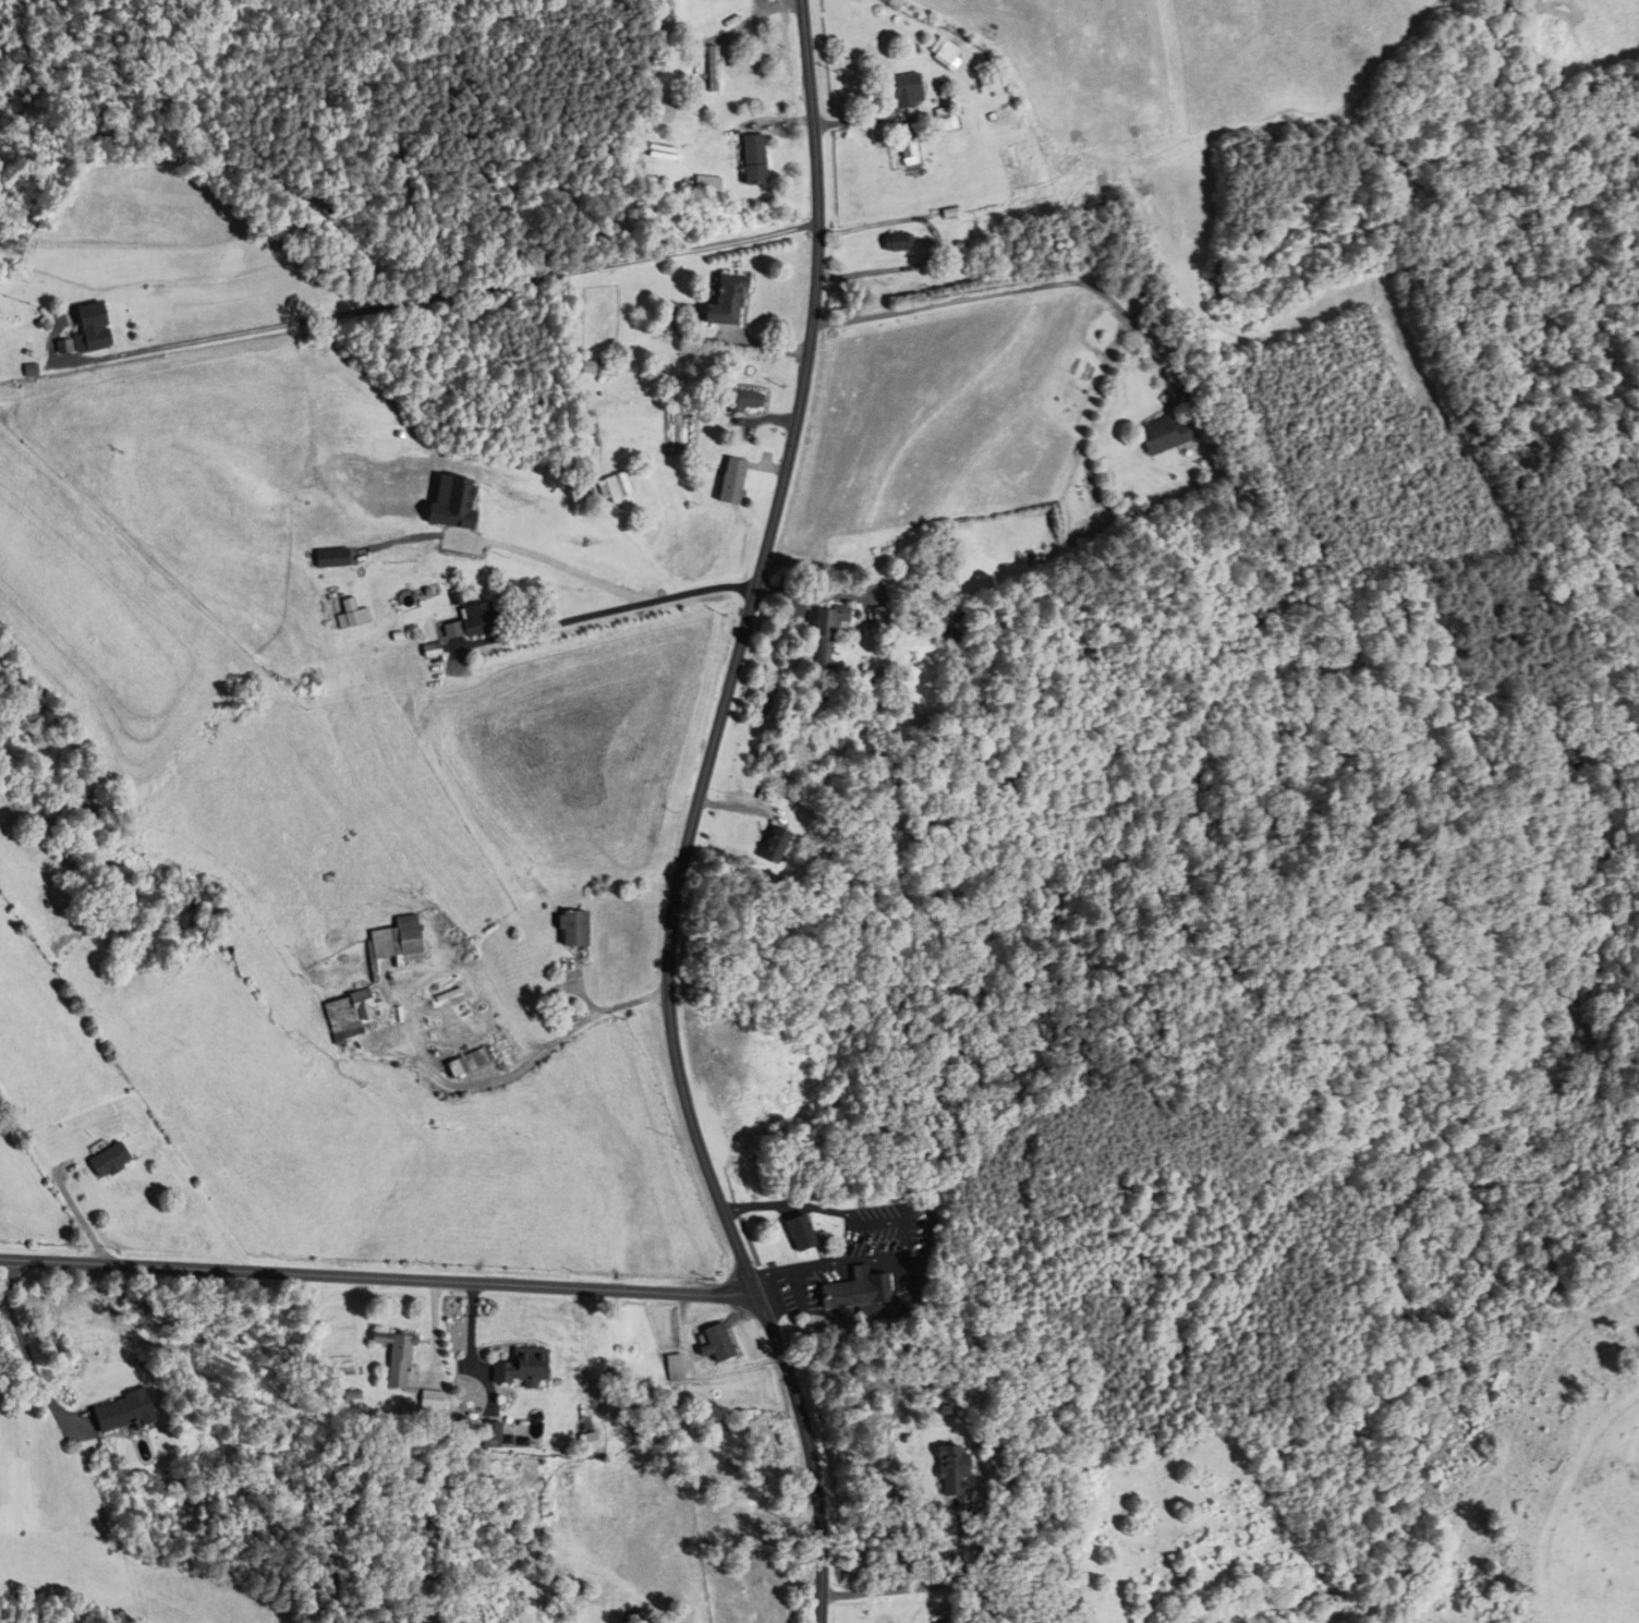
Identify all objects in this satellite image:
building: (733, 16)
building: (942, 52)
building: (711, 69)
building: (901, 92)
building: (940, 96)
building: (998, 114)
building: (944, 118)
building: (1012, 153)
building: (910, 155)
building: (750, 159)
building: (895, 241)
road: (481, 289)
road: (1021, 290)
building: (721, 302)
building: (90, 340)
building: (585, 367)
building: (745, 401)
building: (1163, 436)
building: (730, 481)
building: (616, 488)
road: (558, 567)
road: (640, 604)
building: (476, 620)
building: (827, 633)
road: (695, 816)
building: (772, 846)
building: (576, 928)
building: (398, 944)
building: (350, 1014)
building: (471, 1062)
building: (113, 1162)
building: (801, 1233)
road: (379, 1279)
building: (858, 1289)
building: (716, 1343)
road: (26, 1354)
building: (396, 1357)
building: (520, 1367)
building: (678, 1367)
building: (125, 1413)
building: (490, 1431)
building: (955, 1468)
road: (920, 1588)

